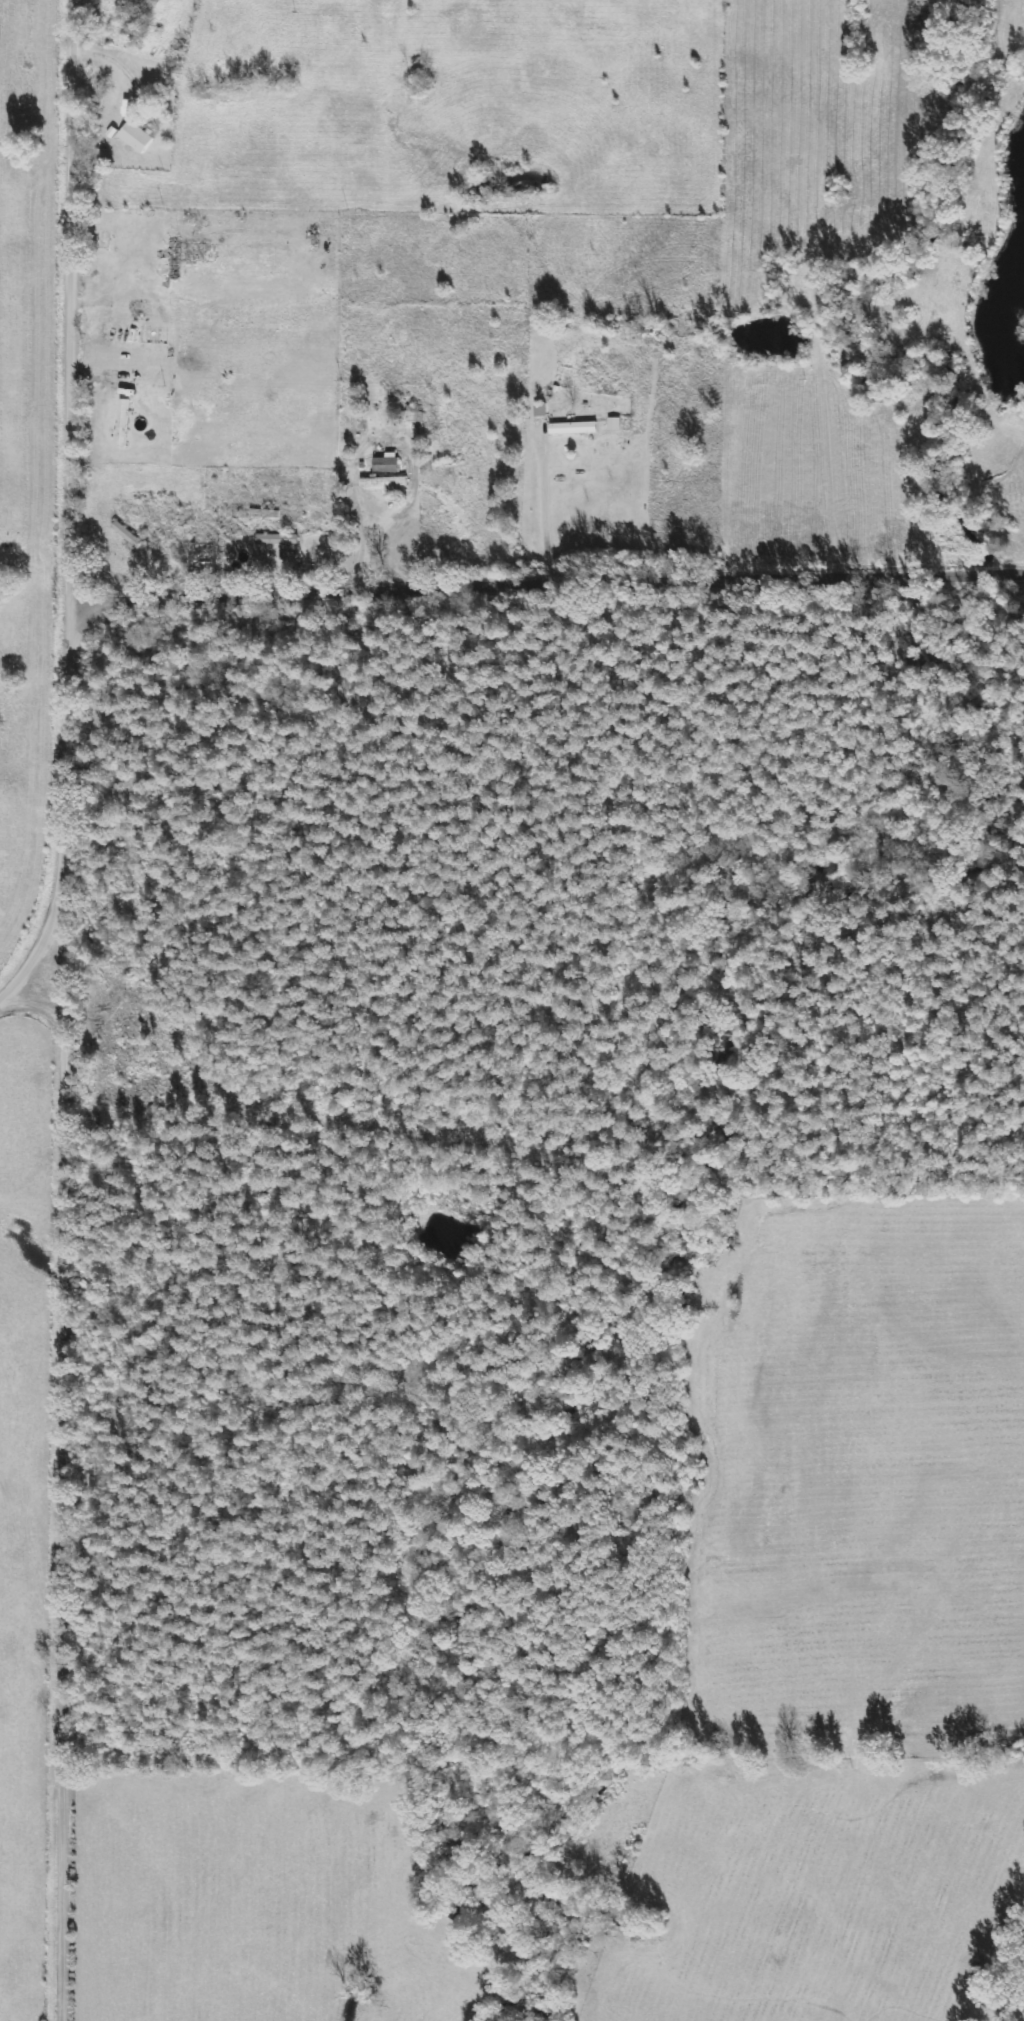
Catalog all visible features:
building: (137, 136)
building: (414, 413)
building: (615, 423)
building: (575, 427)
building: (388, 463)
building: (388, 481)
building: (278, 538)
road: (114, 557)
road: (550, 588)
road: (35, 831)
road: (34, 992)
road: (69, 1010)

